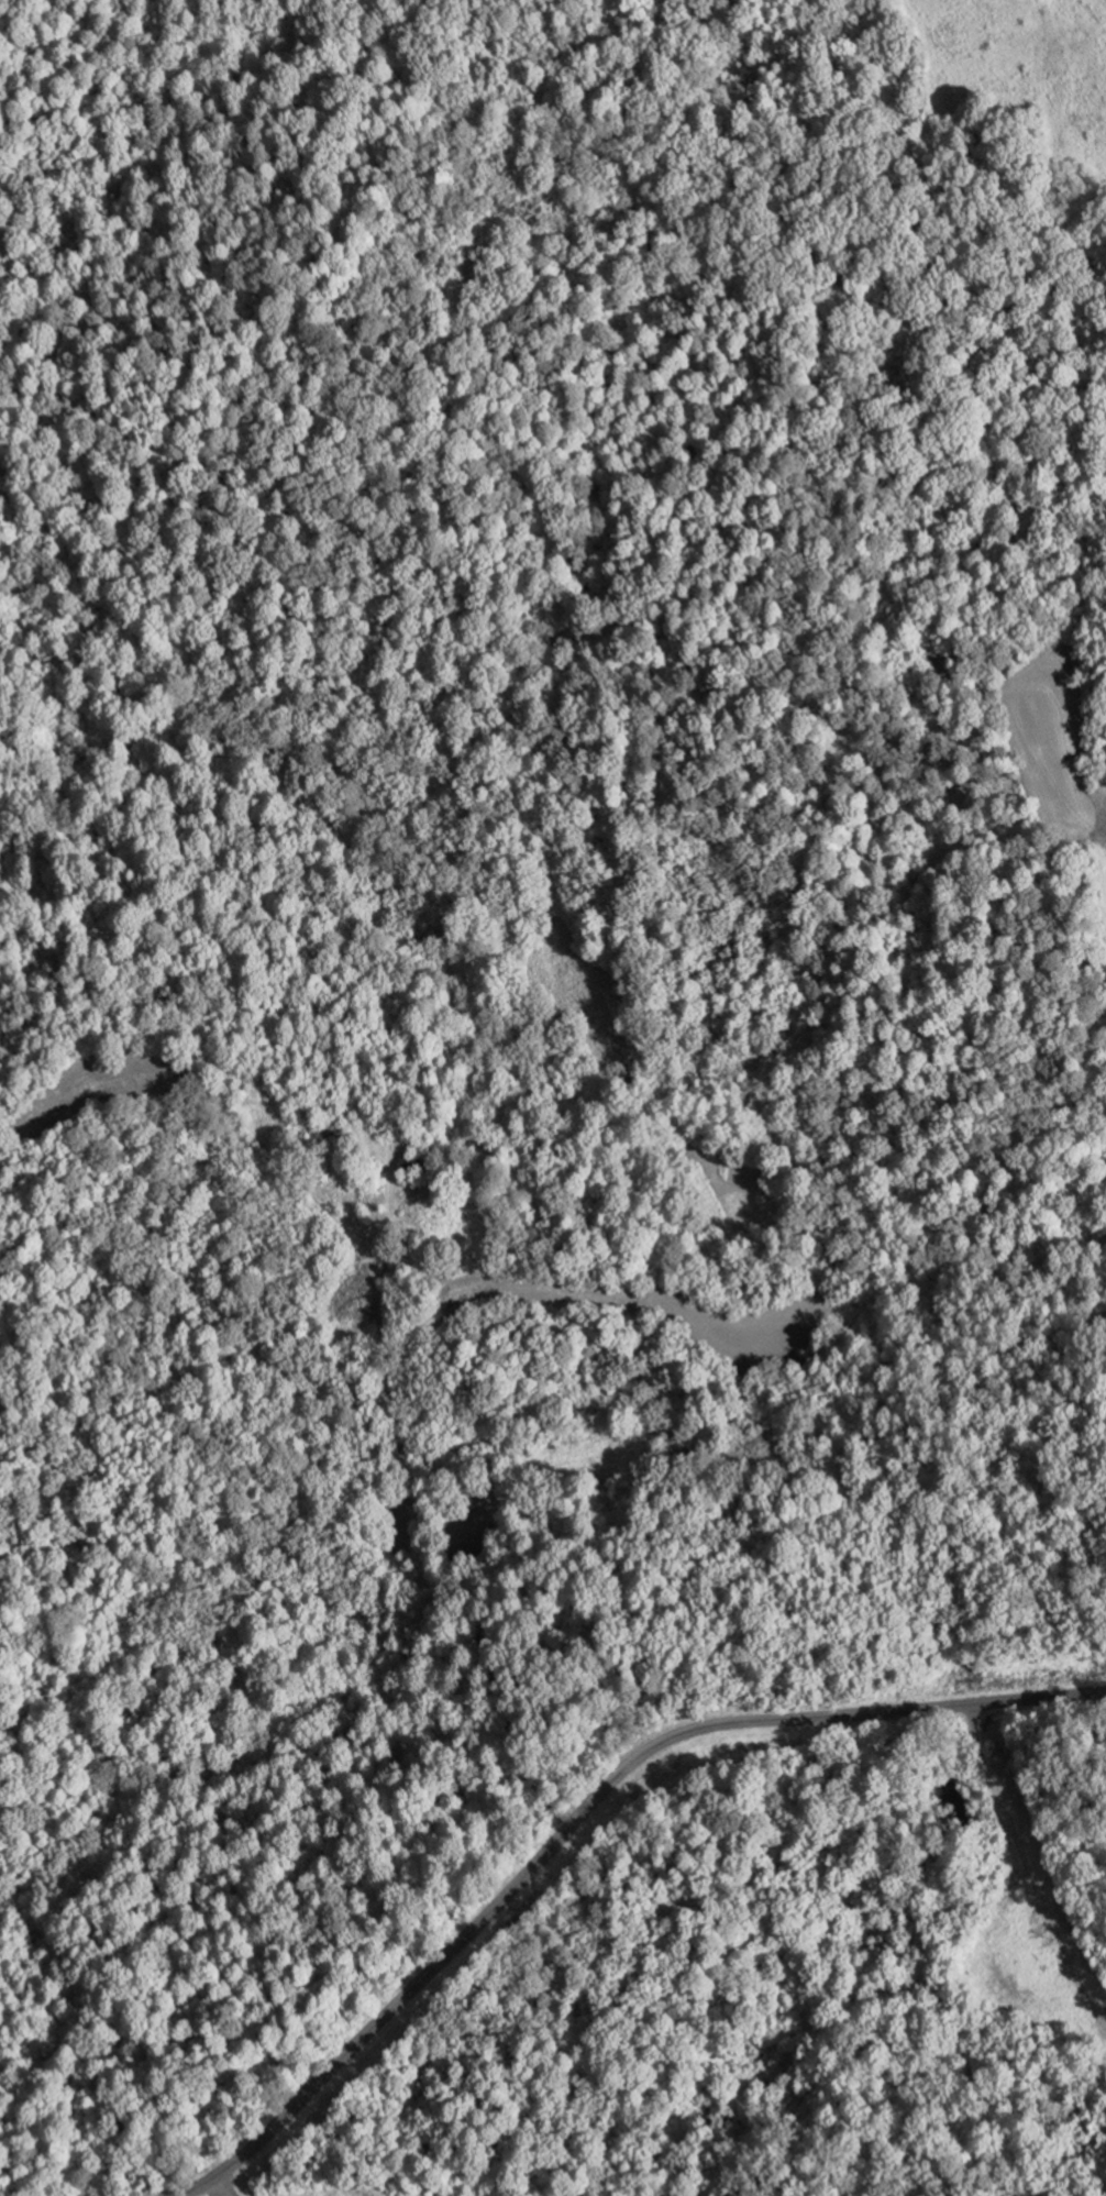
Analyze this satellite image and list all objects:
building: (413, 1169)
road: (352, 1185)
road: (434, 1540)
road: (583, 1813)
road: (1028, 1867)
road: (1008, 1966)
road: (218, 2188)

